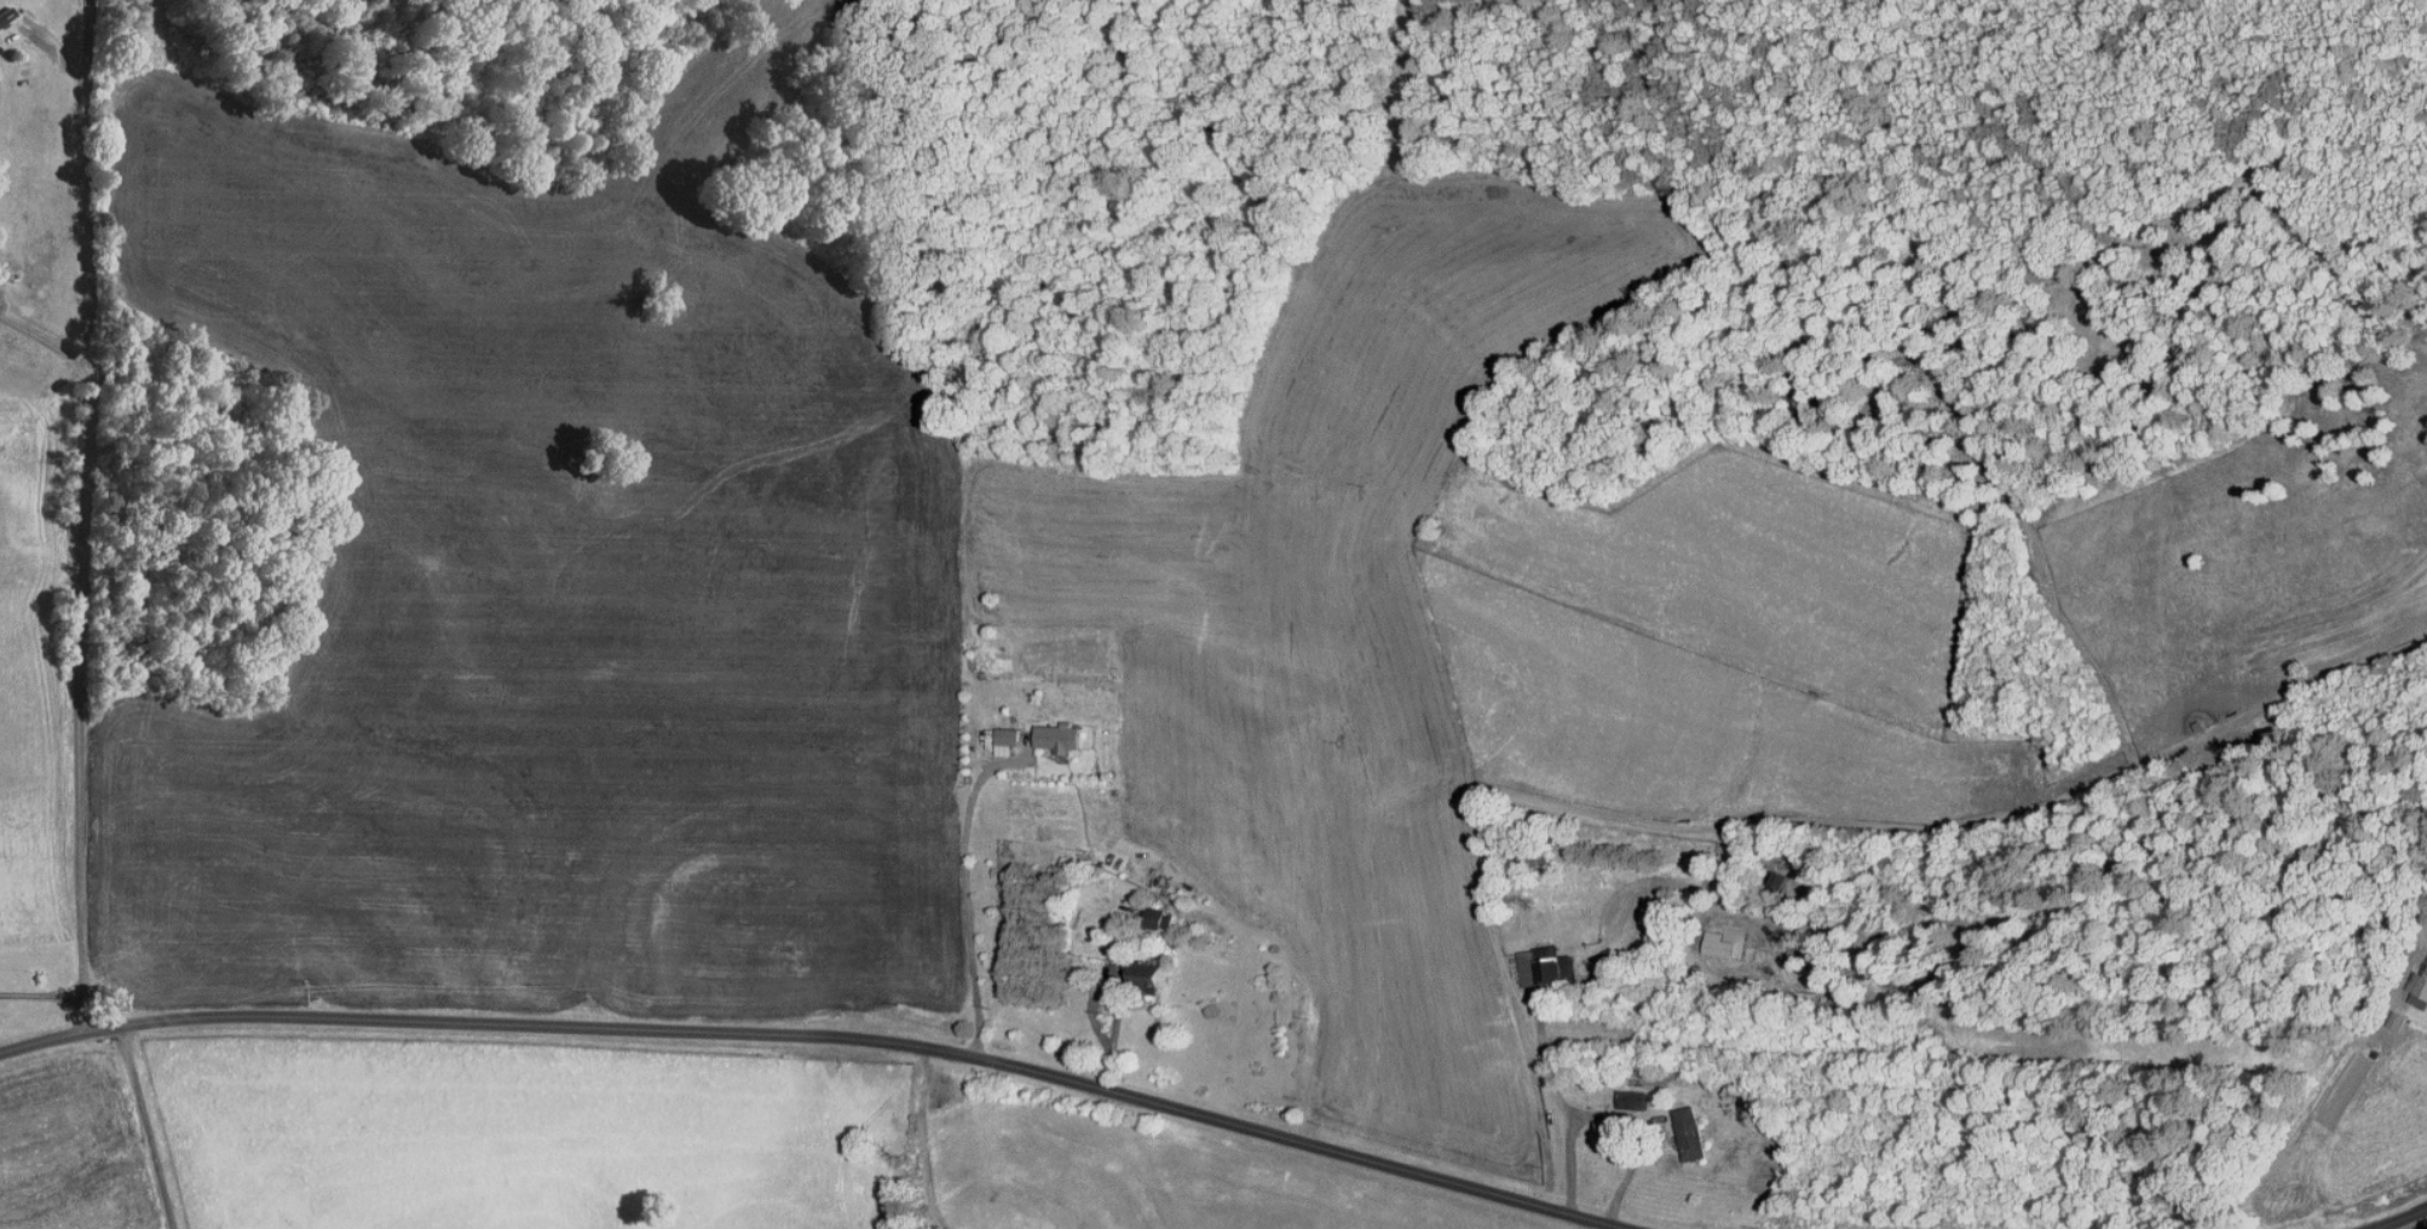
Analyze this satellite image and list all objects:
building: (6, 15)
road: (41, 345)
road: (81, 521)
building: (1057, 738)
building: (1005, 740)
road: (964, 892)
building: (1157, 914)
building: (1723, 944)
building: (1539, 967)
building: (1145, 979)
road: (44, 992)
road: (1118, 1000)
road: (826, 1035)
building: (1631, 1100)
road: (1607, 1117)
building: (1689, 1132)
road: (157, 1133)
road: (907, 1136)
road: (2394, 1219)
road: (2414, 1222)
road: (2414, 1225)

